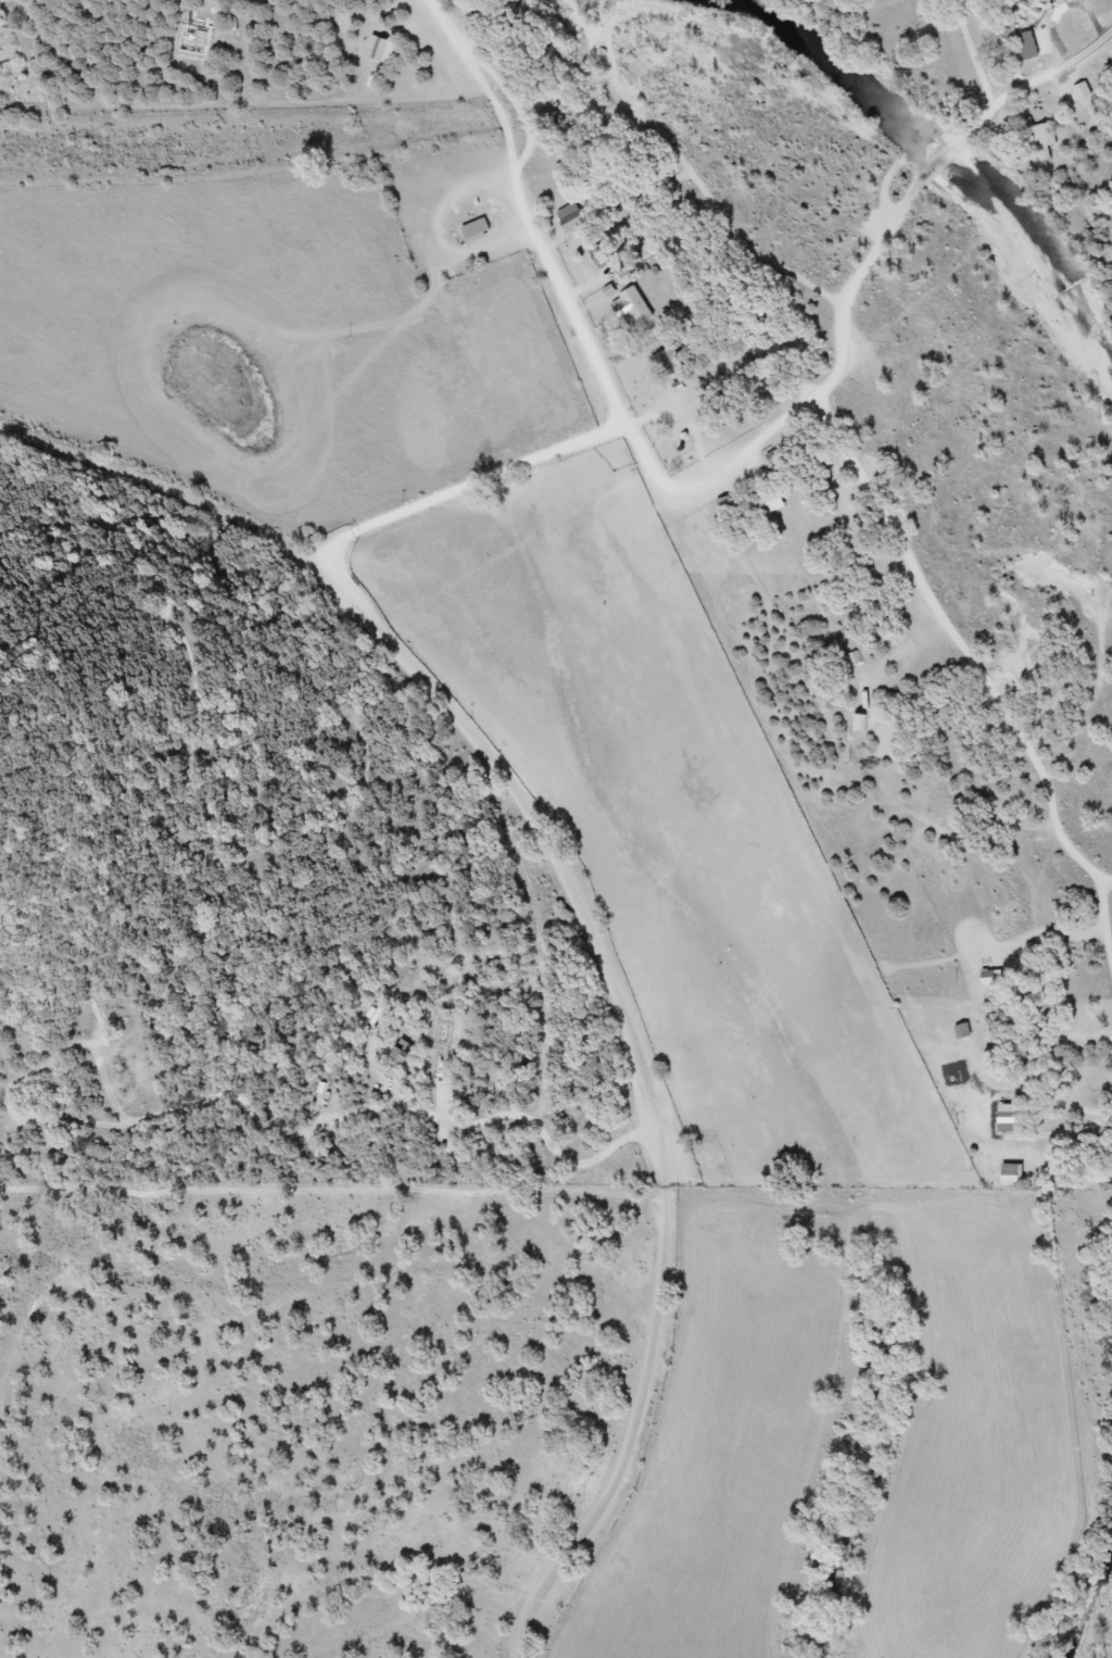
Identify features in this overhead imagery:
building: (1037, 7)
building: (243, 27)
building: (1029, 45)
building: (1083, 90)
building: (1047, 134)
river: (947, 141)
building: (571, 216)
building: (476, 228)
building: (601, 256)
building: (634, 309)
building: (668, 362)
road: (459, 487)
road: (167, 492)
road: (687, 492)
building: (767, 501)
building: (725, 504)
building: (859, 655)
building: (1014, 1020)
building: (962, 1030)
road: (646, 1083)
building: (1012, 1173)
river: (1089, 1603)

